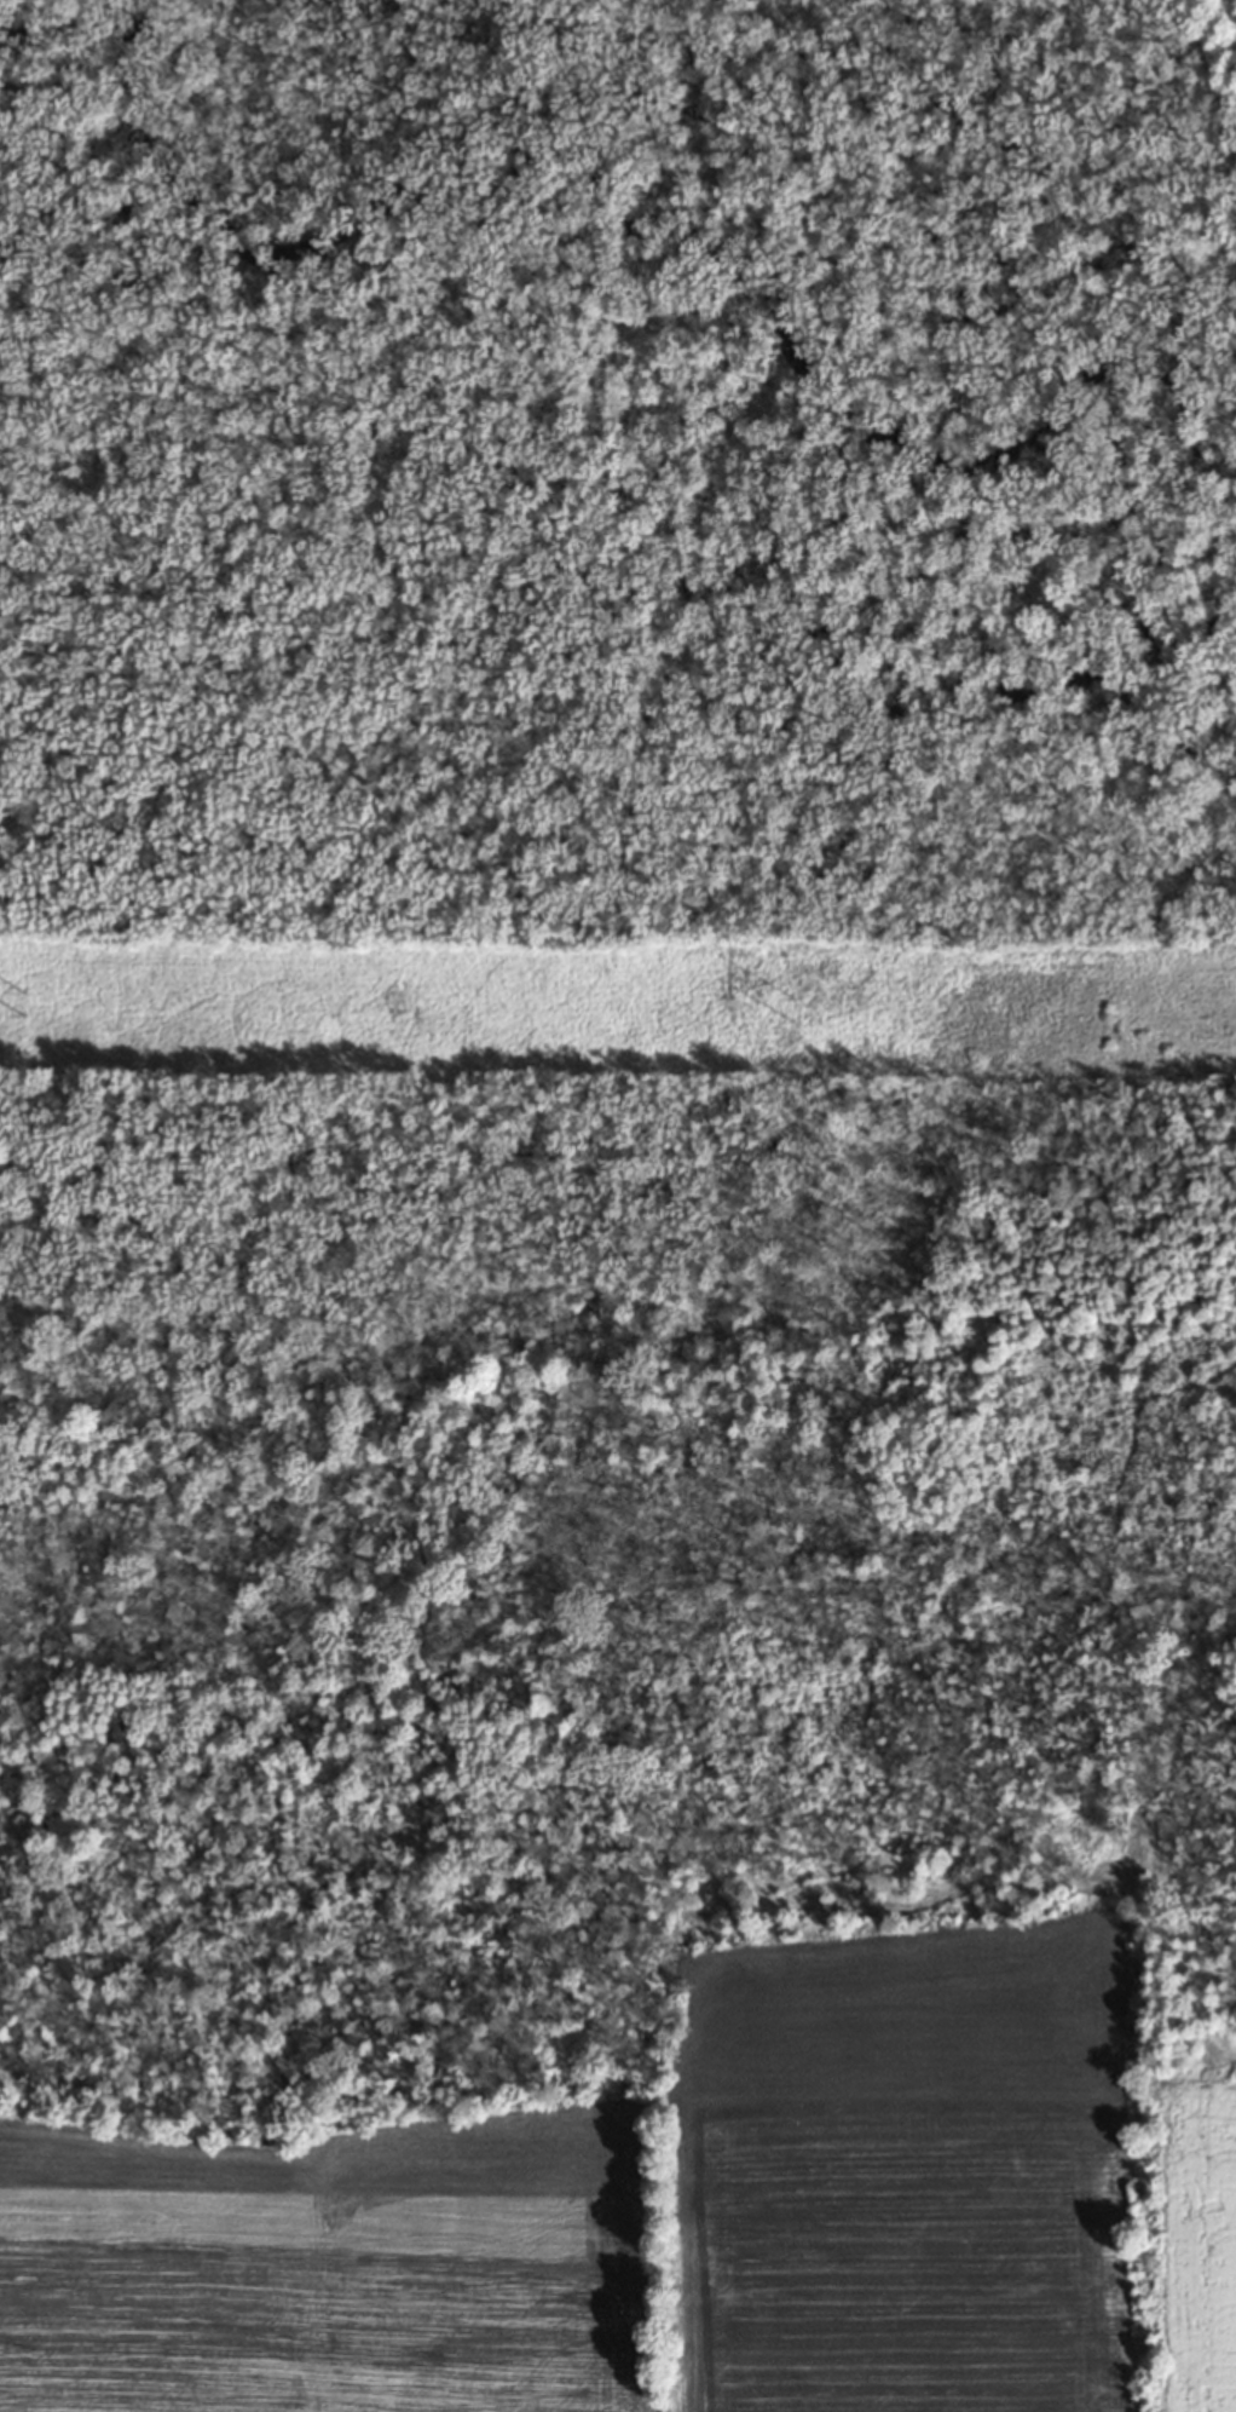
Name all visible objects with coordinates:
power tower: (23, 1001)
power tower: (791, 1006)

